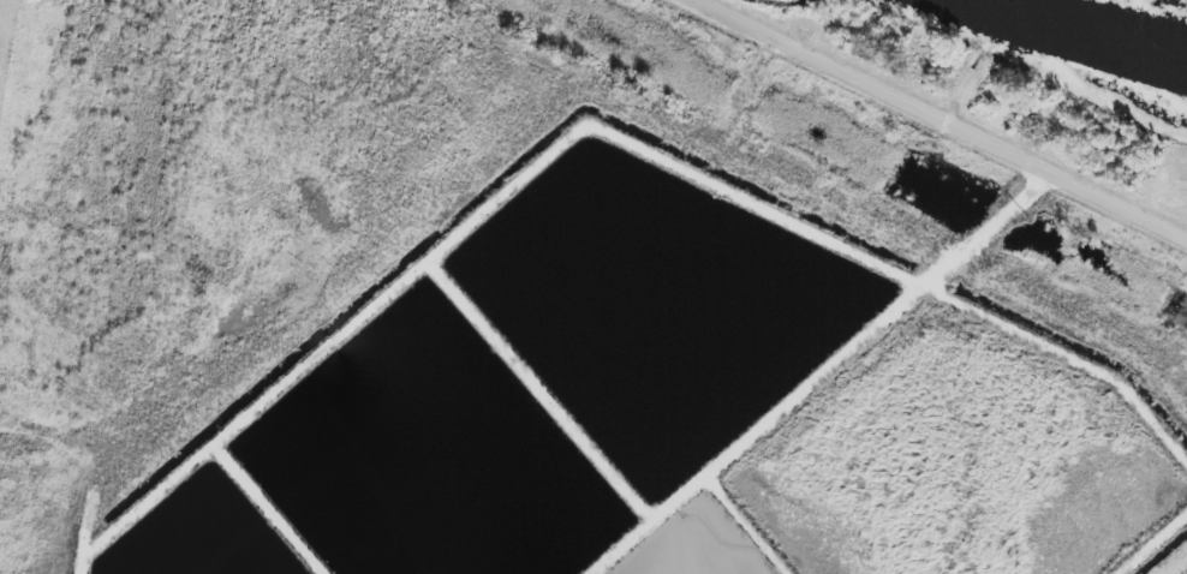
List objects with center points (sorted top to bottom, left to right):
road: (940, 119)

